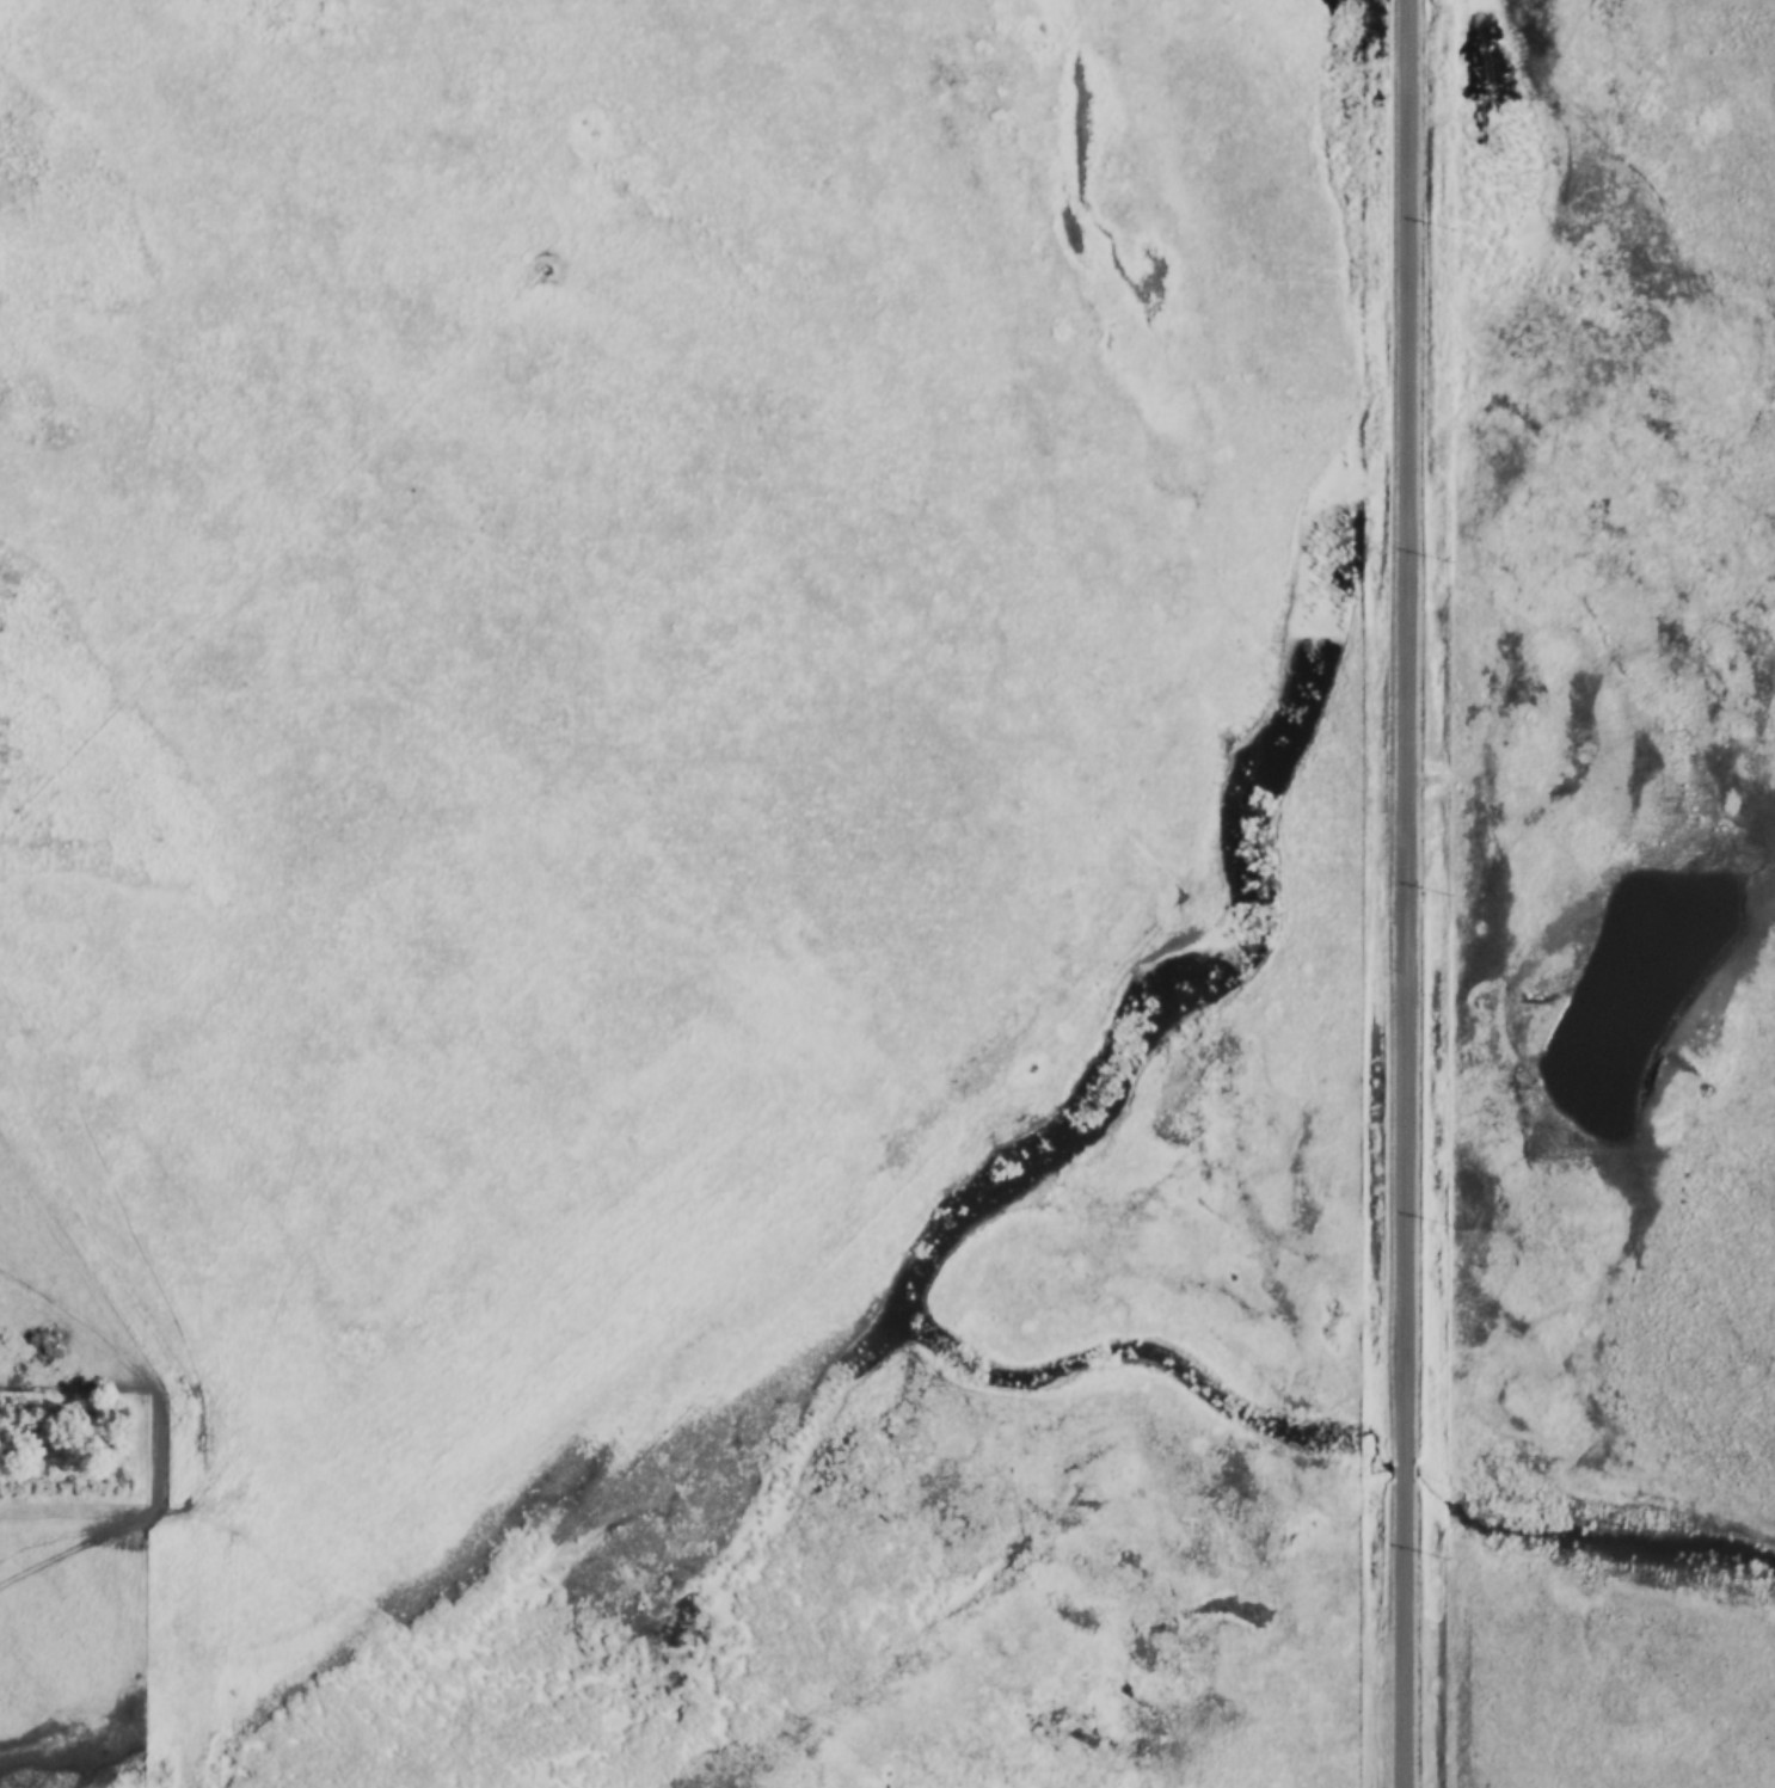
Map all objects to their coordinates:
road: (1405, 893)

